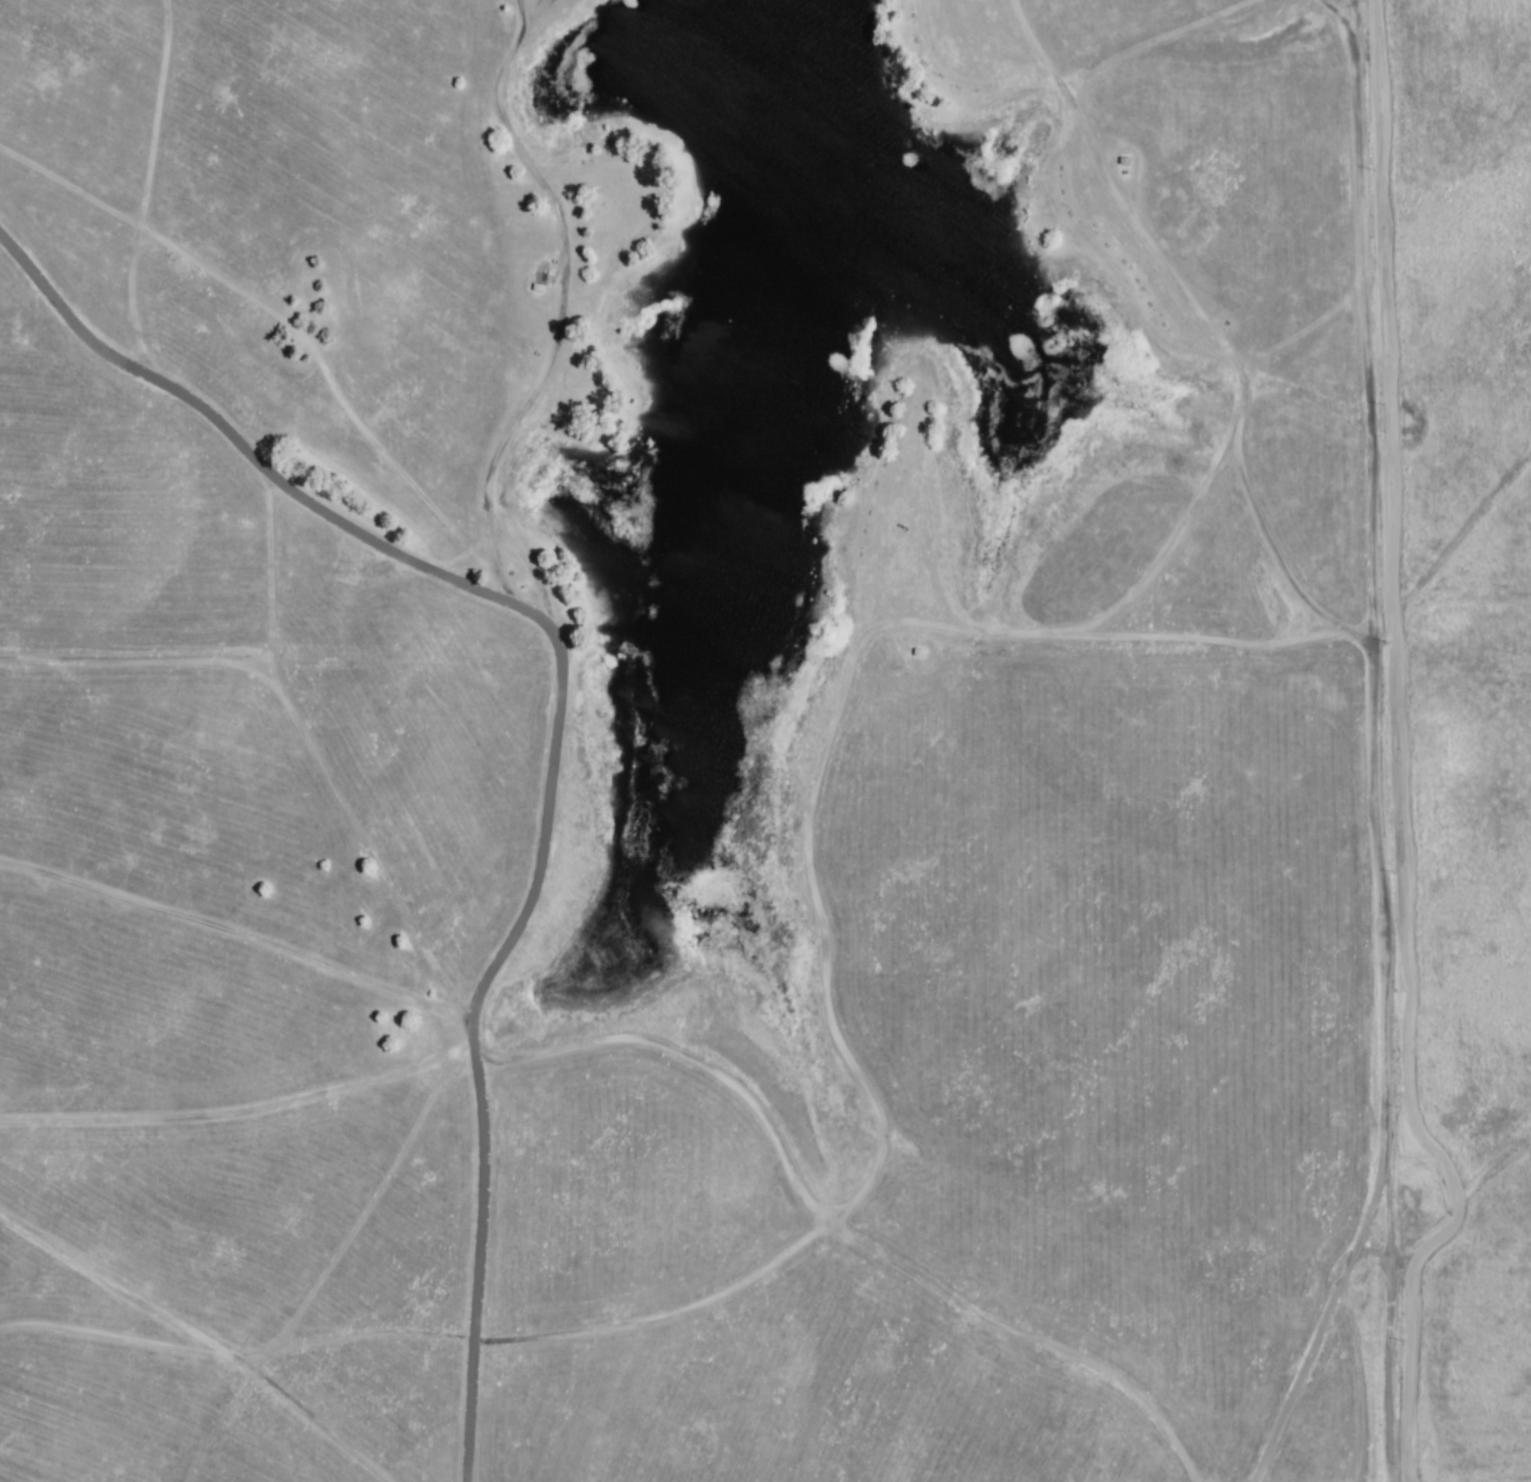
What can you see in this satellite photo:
road: (845, 674)
road: (553, 722)
road: (1370, 734)
road: (1367, 1249)
road: (666, 1313)
road: (1320, 1322)

